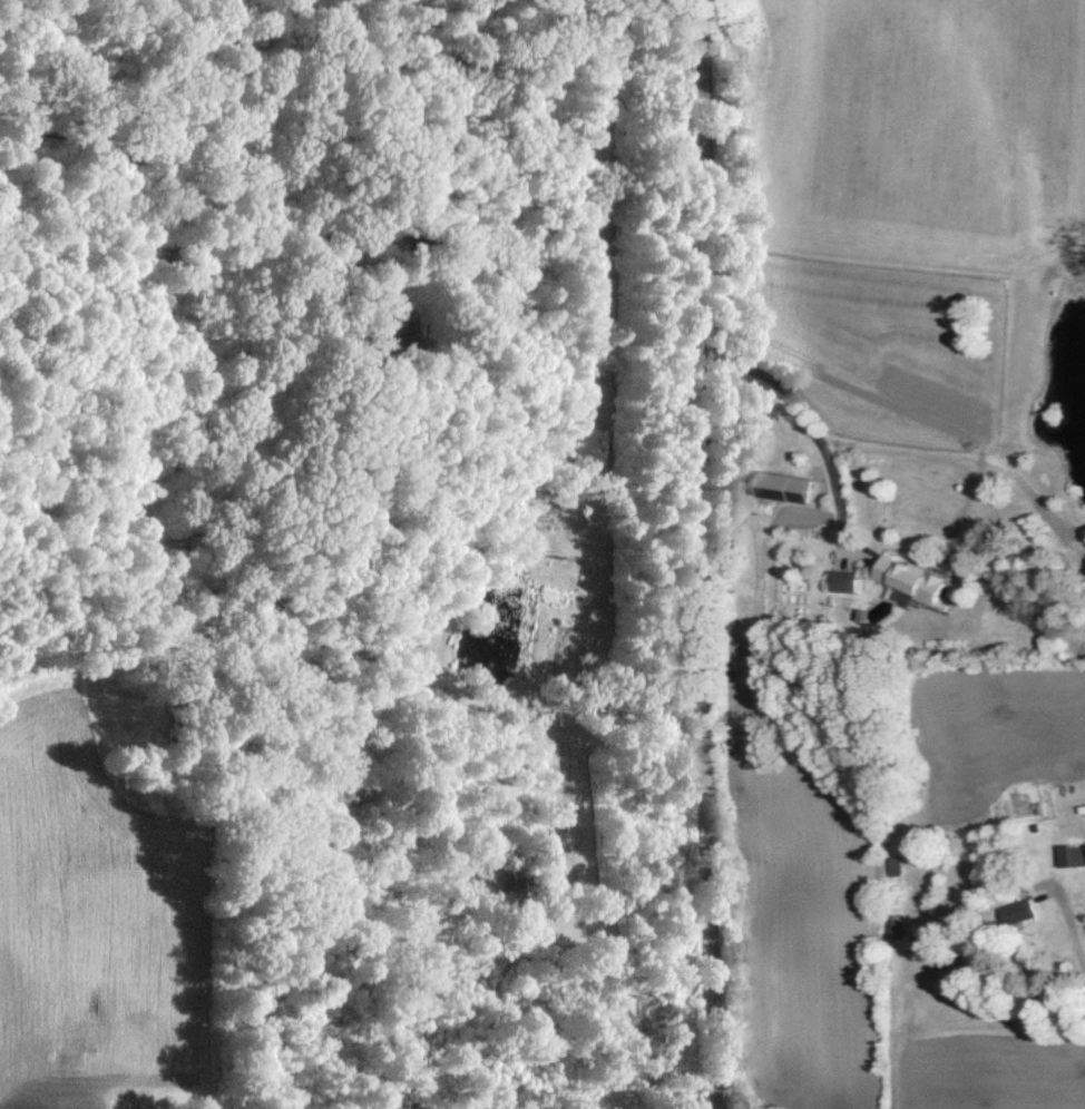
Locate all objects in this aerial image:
road: (813, 422)
road: (600, 474)
building: (785, 484)
road: (702, 554)
building: (912, 575)
building: (857, 580)
building: (1079, 856)
building: (898, 865)
building: (37, 886)
road: (1075, 911)
building: (1024, 912)
building: (899, 926)
building: (147, 1076)

